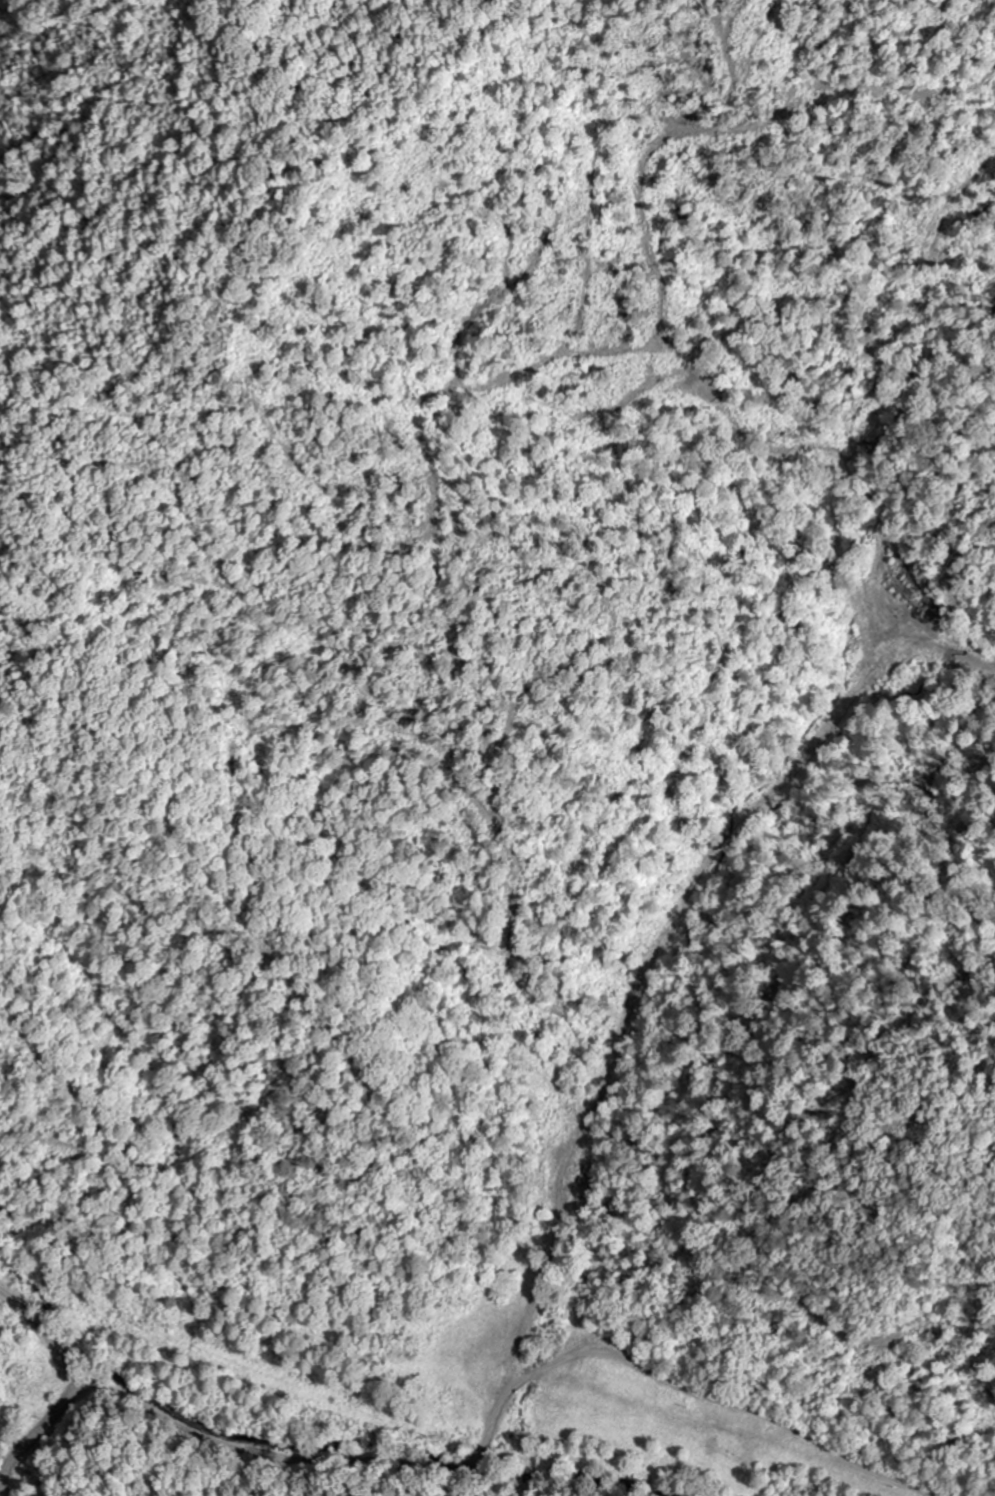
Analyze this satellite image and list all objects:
road: (449, 1387)
road: (73, 1390)

